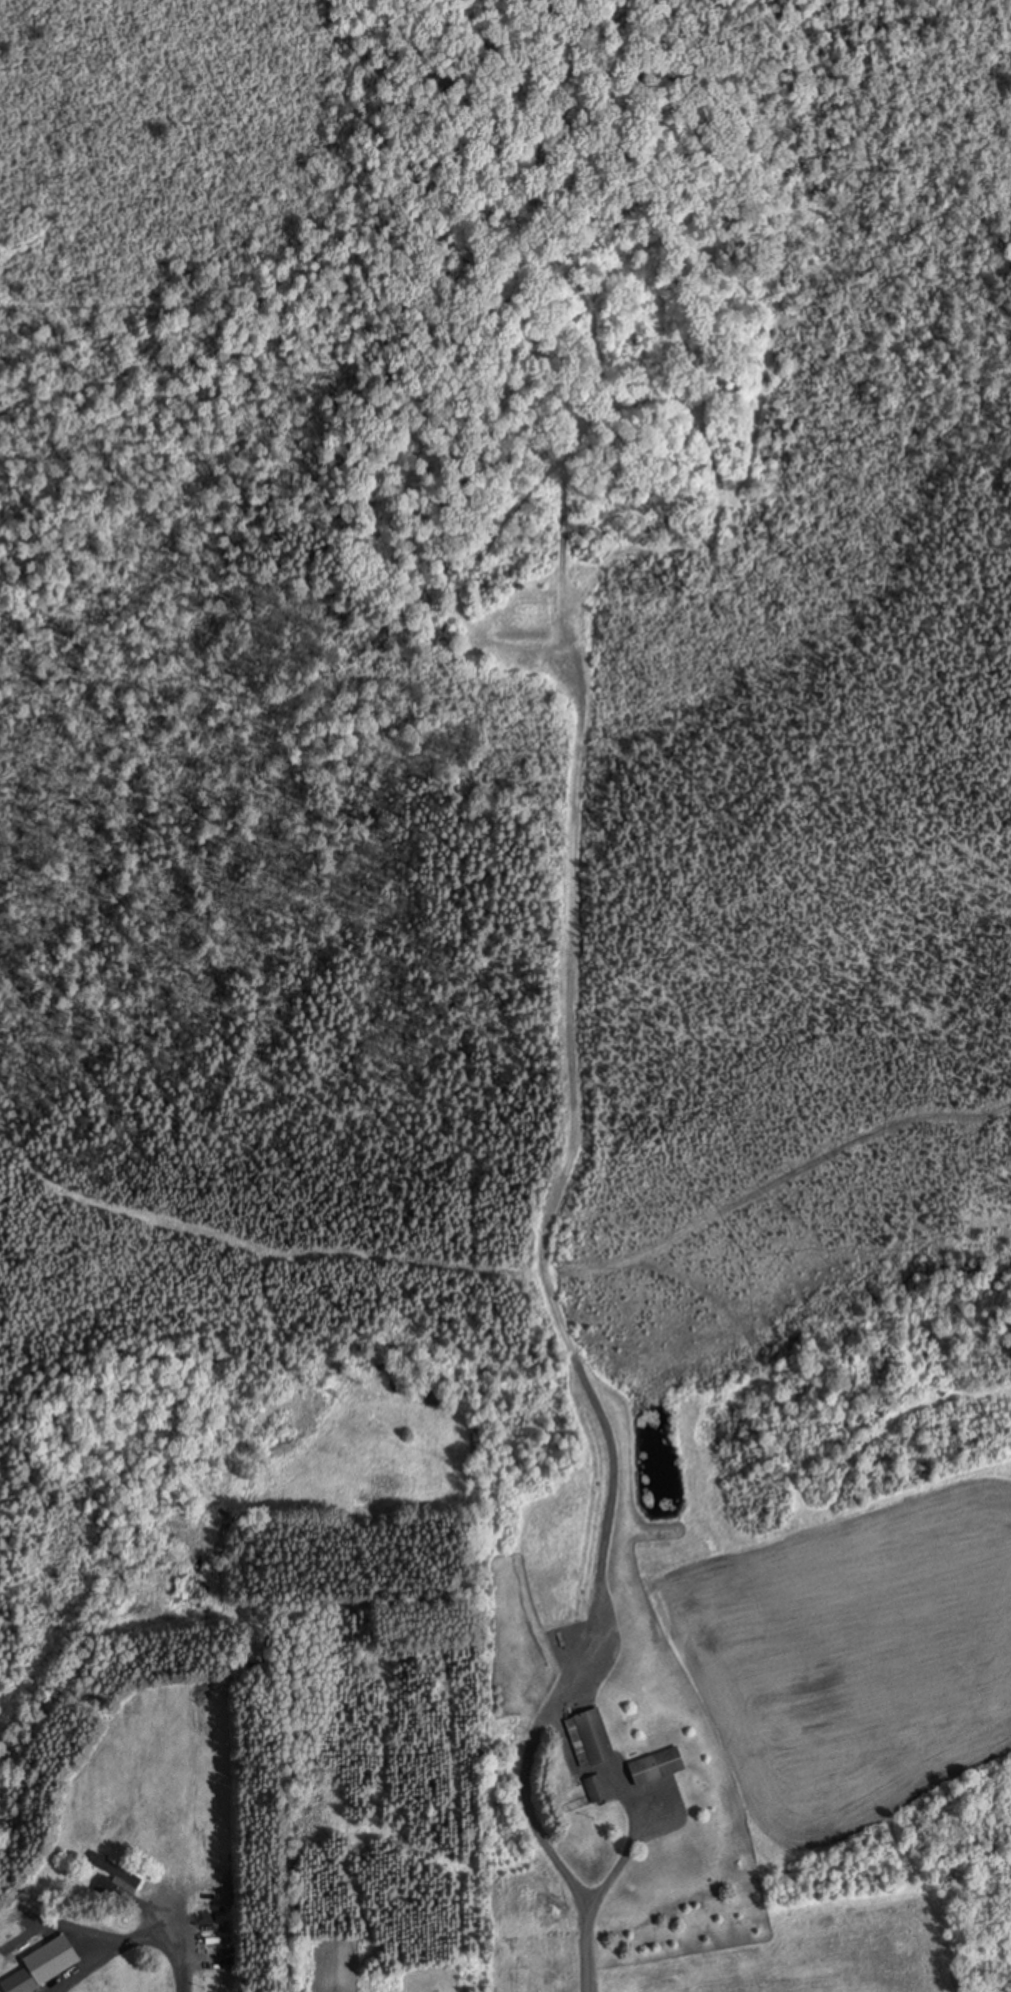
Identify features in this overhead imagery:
building: (591, 1738)
building: (658, 1766)
building: (597, 1788)
building: (115, 1877)
building: (222, 1959)
building: (23, 1981)

